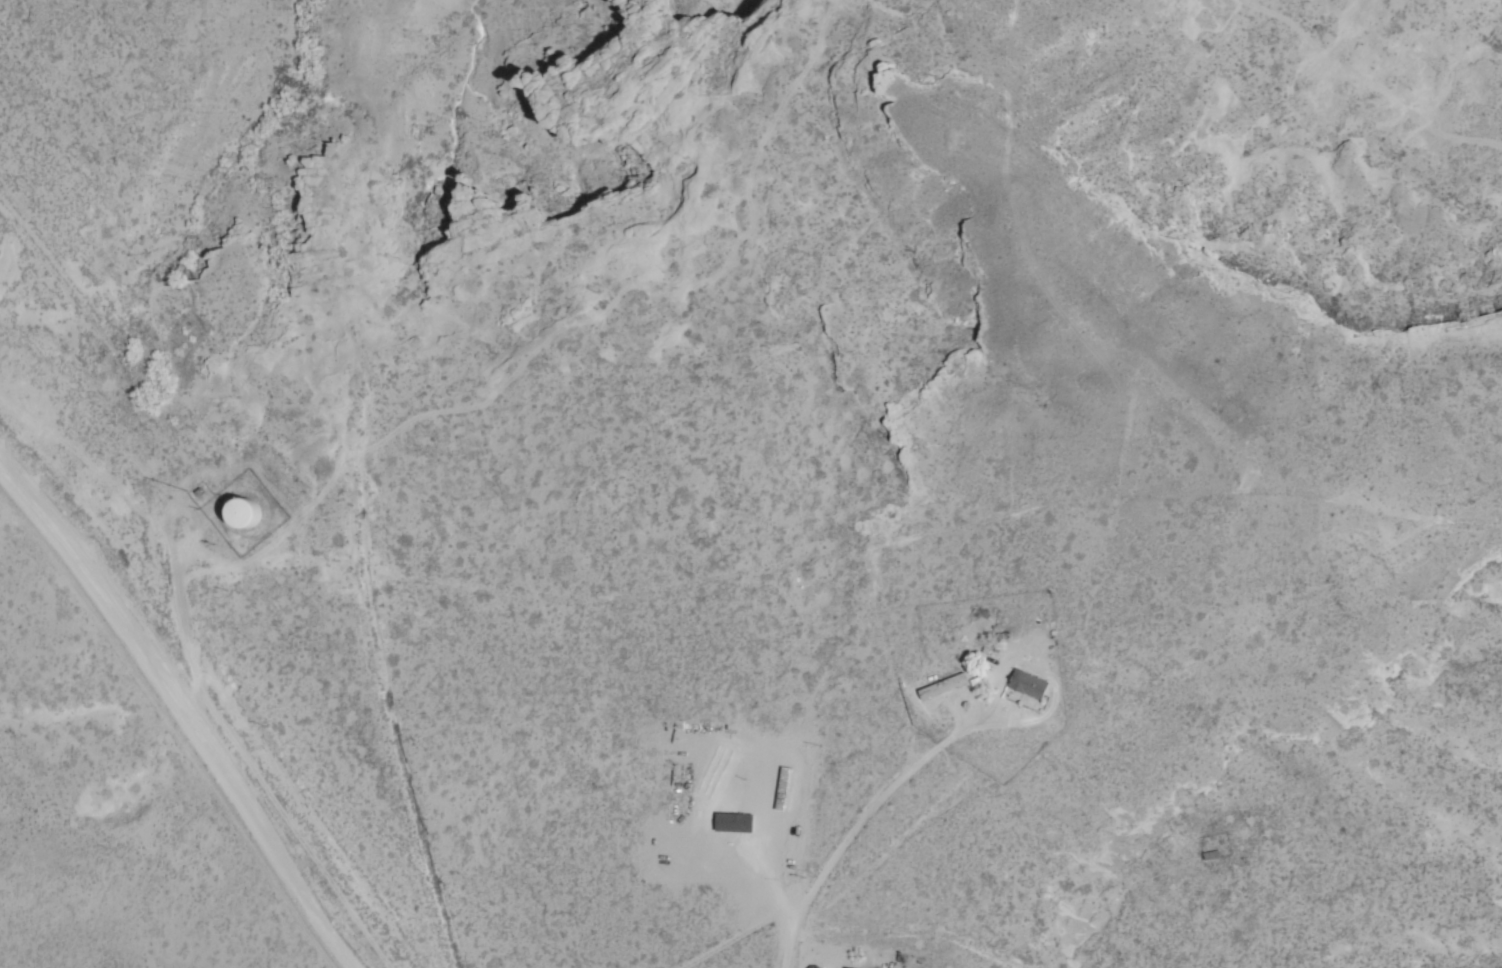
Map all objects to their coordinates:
road: (461, 489)
building: (239, 514)
building: (1028, 684)
building: (942, 686)
road: (200, 701)
building: (724, 784)
road: (449, 911)

